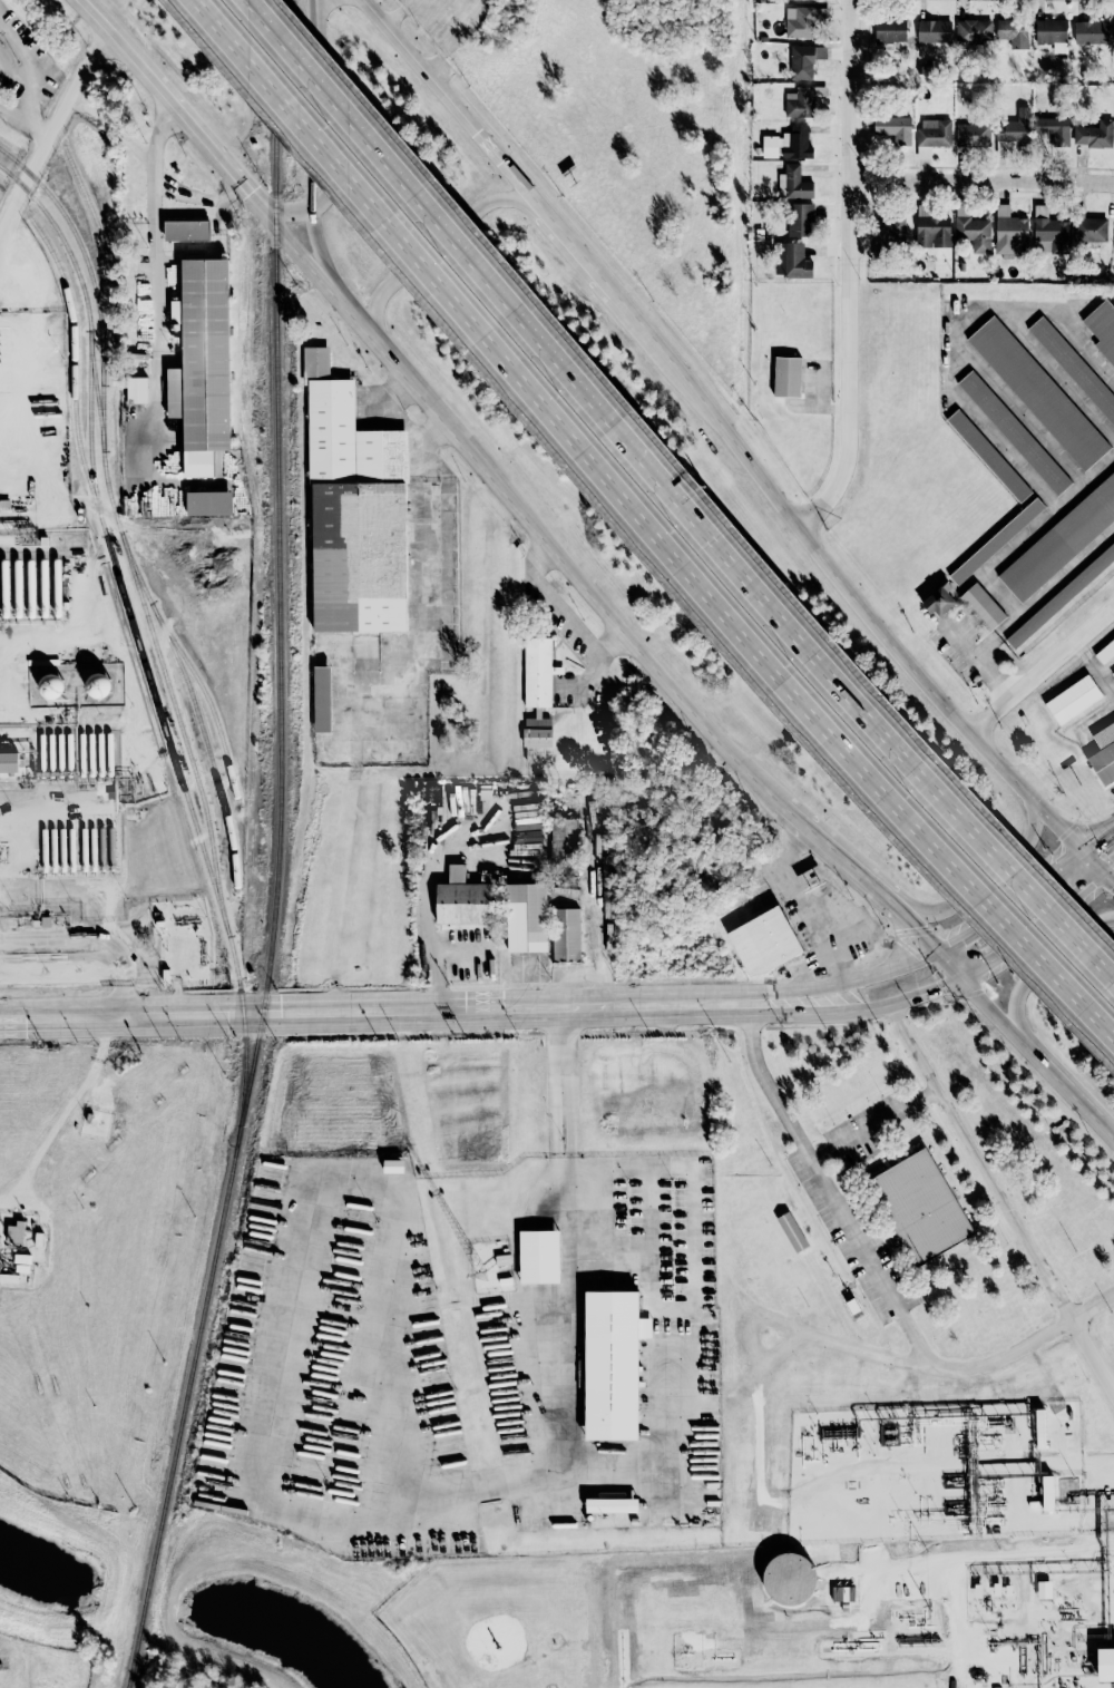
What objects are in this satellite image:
building: (802, 0)
road: (311, 2)
building: (799, 22)
building: (1012, 29)
building: (890, 30)
building: (934, 31)
building: (973, 31)
building: (1091, 32)
building: (1052, 33)
building: (804, 60)
road: (25, 72)
road: (306, 99)
road: (449, 103)
building: (799, 103)
road: (180, 105)
railway: (272, 106)
road: (23, 121)
building: (1014, 127)
building: (893, 129)
building: (1054, 129)
building: (934, 133)
building: (973, 135)
building: (1094, 135)
building: (788, 144)
building: (1000, 148)
building: (924, 153)
building: (793, 183)
road: (987, 184)
road: (292, 208)
building: (799, 219)
building: (889, 227)
building: (186, 230)
building: (971, 230)
building: (1089, 230)
building: (1008, 231)
building: (932, 232)
building: (1048, 232)
road: (449, 233)
road: (436, 243)
road: (317, 244)
road: (575, 252)
railway: (107, 261)
building: (791, 261)
road: (3, 270)
road: (859, 277)
road: (164, 291)
railway: (84, 295)
road: (9, 302)
railway: (96, 305)
road: (955, 328)
building: (1103, 328)
building: (202, 364)
building: (1074, 367)
railway: (74, 371)
road: (1054, 371)
road: (4, 373)
building: (788, 377)
building: (137, 390)
building: (1039, 392)
road: (1018, 410)
building: (1015, 432)
building: (988, 455)
building: (208, 503)
road: (525, 506)
building: (353, 511)
road: (1047, 513)
road: (644, 527)
road: (436, 540)
building: (997, 540)
building: (1062, 541)
road: (838, 579)
road: (1000, 595)
building: (1062, 597)
building: (939, 602)
building: (983, 606)
road: (1028, 608)
railway: (136, 636)
road: (966, 644)
building: (1106, 653)
road: (1043, 667)
building: (1113, 673)
building: (99, 686)
building: (51, 687)
railway: (205, 696)
building: (538, 697)
building: (1074, 699)
building: (322, 700)
railway: (194, 704)
road: (878, 726)
building: (1104, 754)
building: (9, 763)
railway: (206, 814)
road: (801, 816)
road: (1098, 833)
building: (564, 843)
traffic signals: (1083, 845)
road: (1094, 856)
road: (1110, 865)
traffic signals: (1105, 868)
road: (856, 872)
road: (1110, 874)
road: (985, 879)
building: (462, 900)
road: (801, 901)
road: (1012, 902)
road: (428, 909)
building: (527, 918)
road: (1034, 926)
road: (913, 929)
building: (566, 936)
building: (764, 943)
traffic signals: (936, 954)
railway: (268, 957)
road: (438, 962)
road: (1045, 962)
road: (804, 963)
road: (948, 966)
traffic signals: (960, 978)
road: (853, 980)
road: (989, 1006)
road: (384, 1009)
road: (868, 1009)
road: (105, 1023)
road: (1066, 1083)
road: (563, 1086)
parking lot: (863, 1114)
road: (872, 1126)
parking lot: (867, 1148)
building: (392, 1167)
road: (664, 1167)
road: (824, 1187)
road: (999, 1200)
building: (920, 1207)
parking lot: (619, 1208)
parking lot: (635, 1208)
road: (651, 1213)
parking lot: (706, 1232)
building: (792, 1232)
building: (16, 1233)
parking lot: (839, 1237)
parking lot: (663, 1241)
parking lot: (680, 1241)
parking lot: (879, 1248)
building: (539, 1257)
parking lot: (610, 1281)
road: (294, 1296)
building: (852, 1306)
road: (571, 1360)
road: (928, 1363)
building: (613, 1364)
road: (657, 1373)
road: (675, 1407)
building: (1040, 1430)
road: (848, 1475)
building: (1047, 1494)
building: (612, 1505)
road: (1027, 1521)
road: (1088, 1536)
road: (966, 1560)
building: (789, 1580)
storage tank: (789, 1580)
building: (1044, 1590)
building: (843, 1593)
building: (844, 1607)
road: (4, 1658)
building: (1105, 1665)

